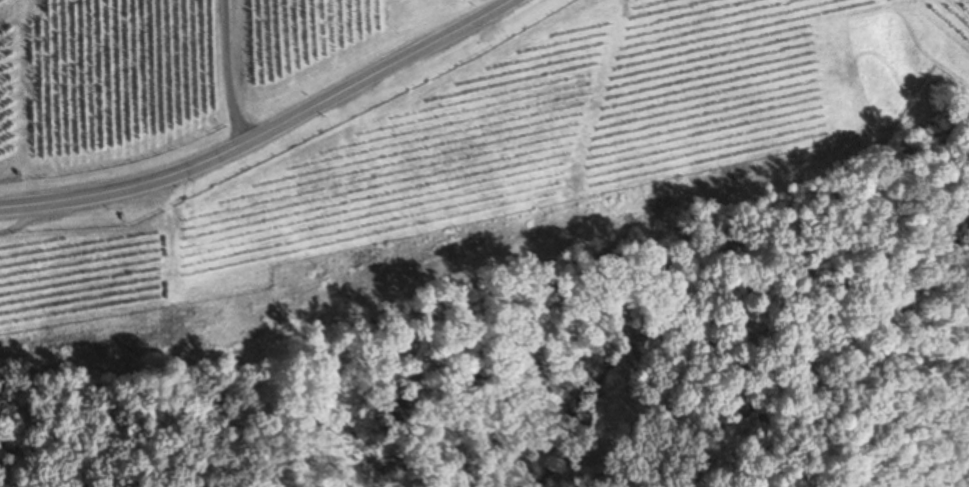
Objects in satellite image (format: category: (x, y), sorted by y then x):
road: (235, 72)
road: (270, 128)

